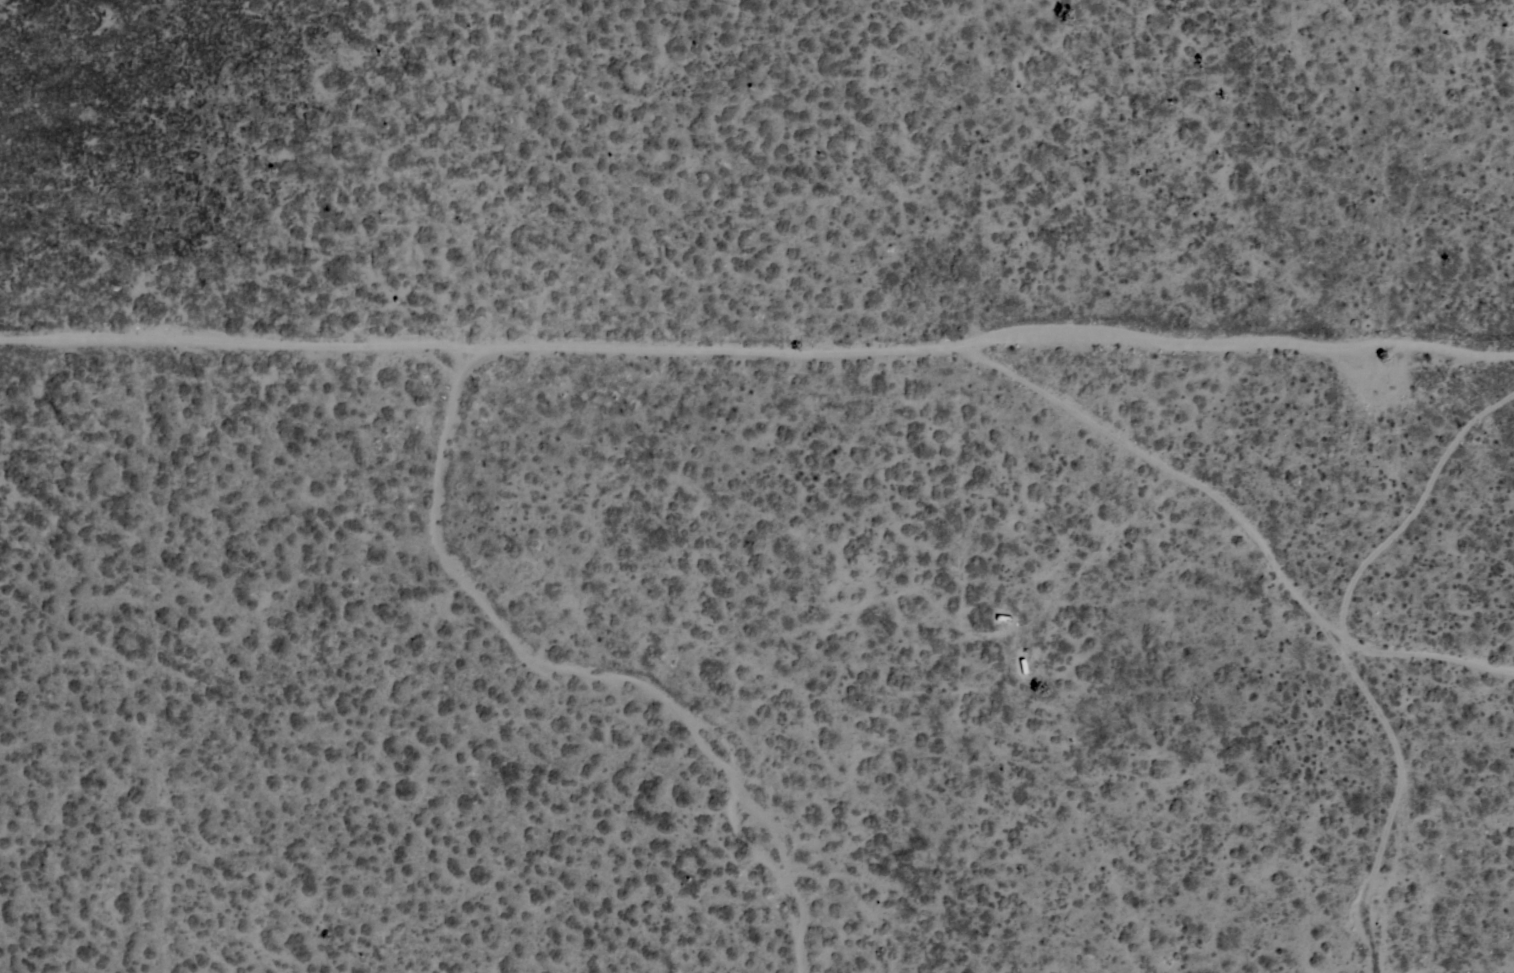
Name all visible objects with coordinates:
road: (1244, 339)
road: (488, 351)
road: (1247, 522)
road: (595, 671)

